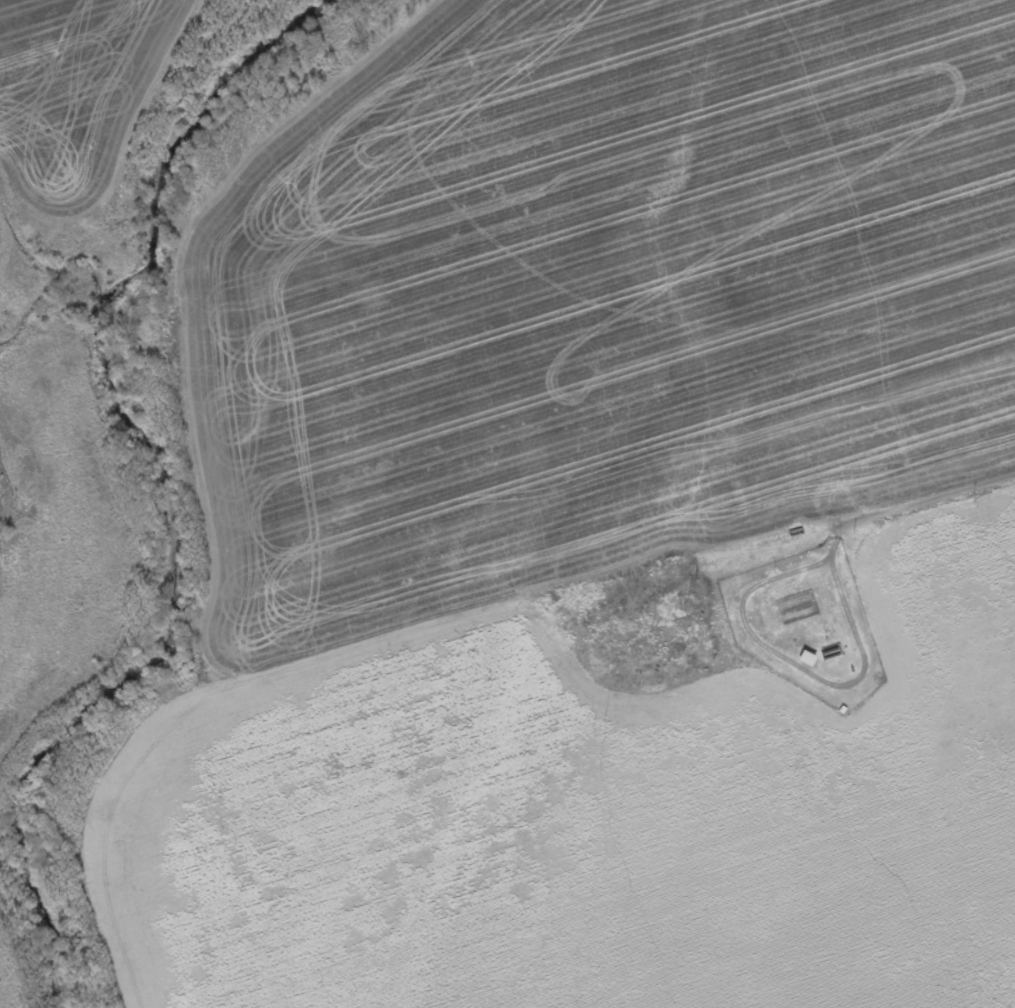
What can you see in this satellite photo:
road: (874, 534)
building: (798, 610)

